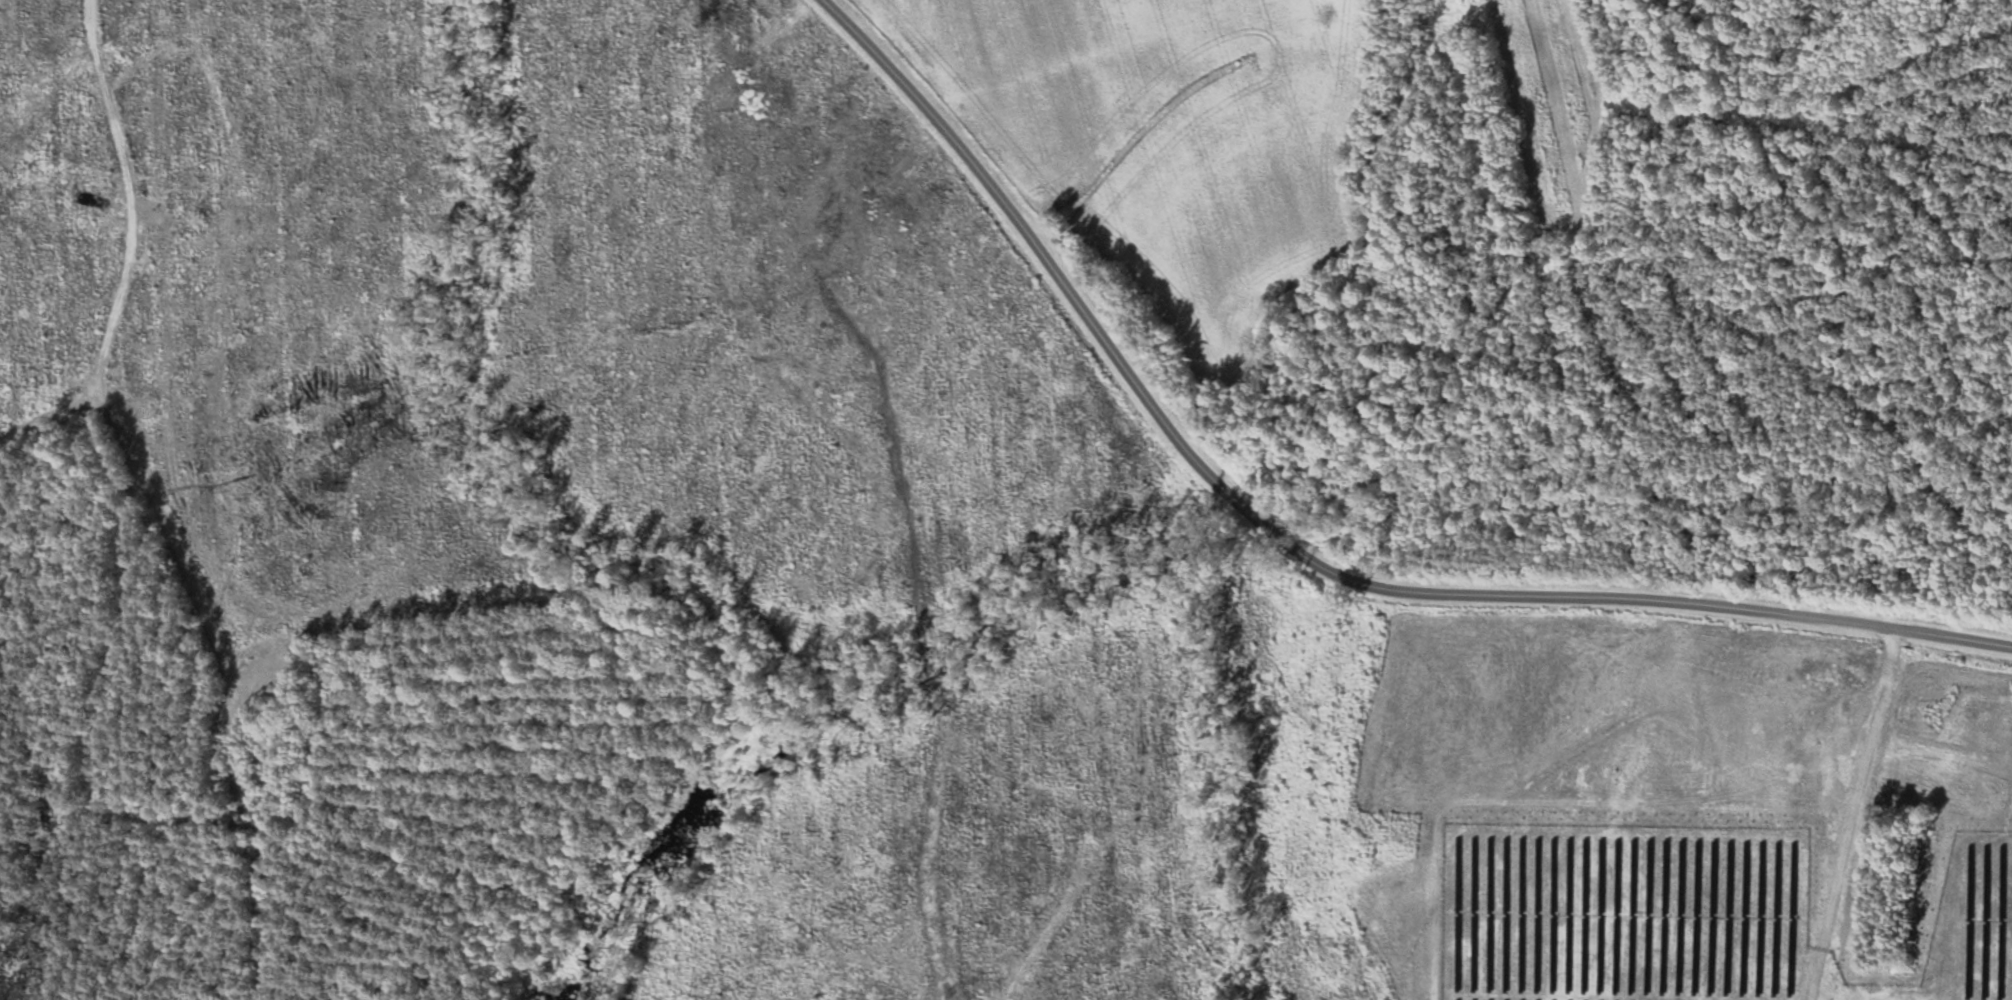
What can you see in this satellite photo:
road: (1296, 551)
road: (1893, 814)
building: (1892, 997)

